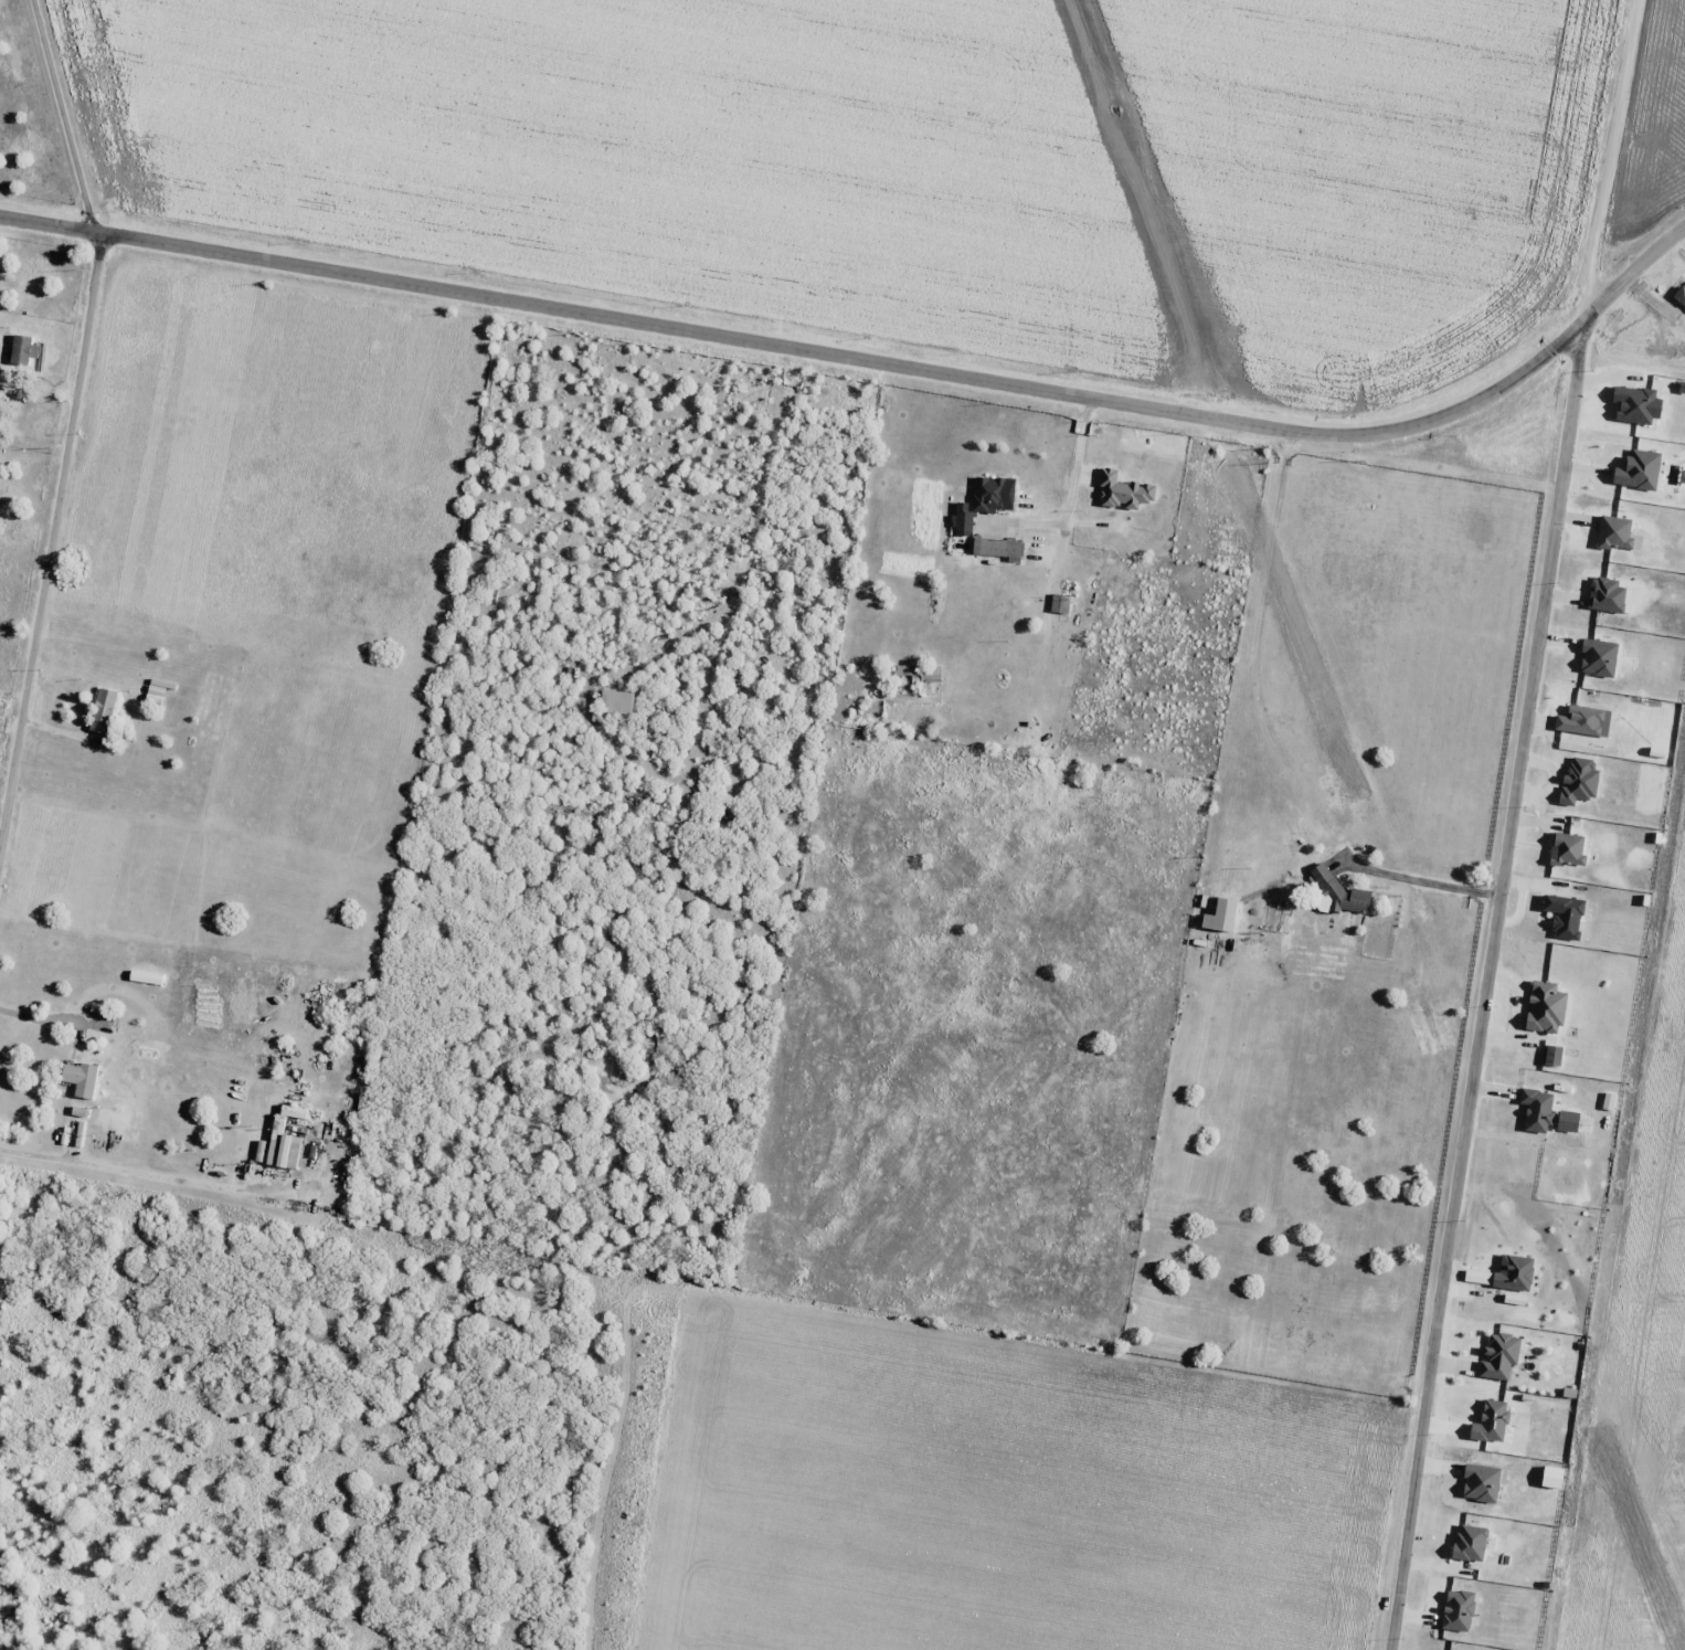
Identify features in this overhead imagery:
crop: (1654, 128)
building: (38, 359)
road: (873, 367)
building: (988, 495)
building: (963, 521)
building: (990, 548)
road: (63, 664)
building: (915, 673)
building: (614, 702)
building: (102, 711)
road: (1515, 824)
building: (85, 1081)
building: (294, 1111)
building: (280, 1146)
crop: (1590, 1421)

